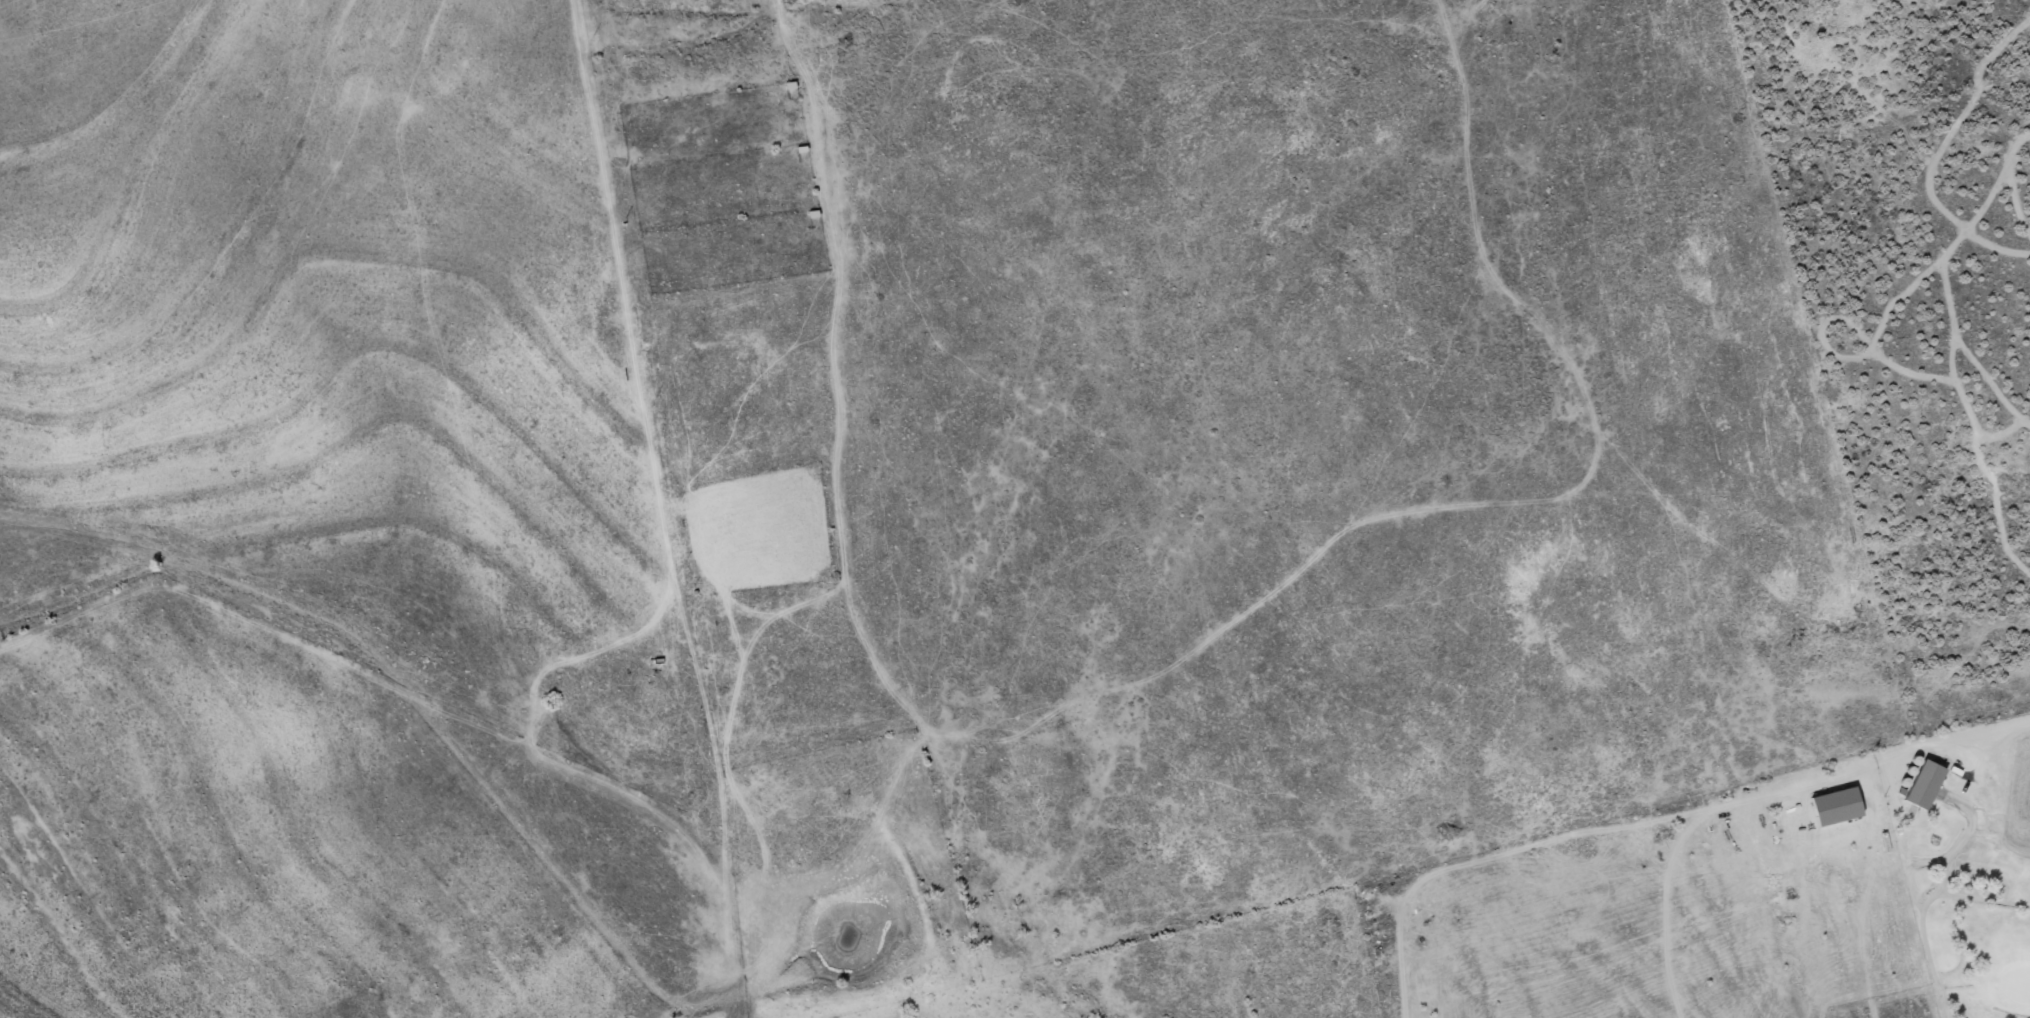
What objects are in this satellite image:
building: (1840, 805)

